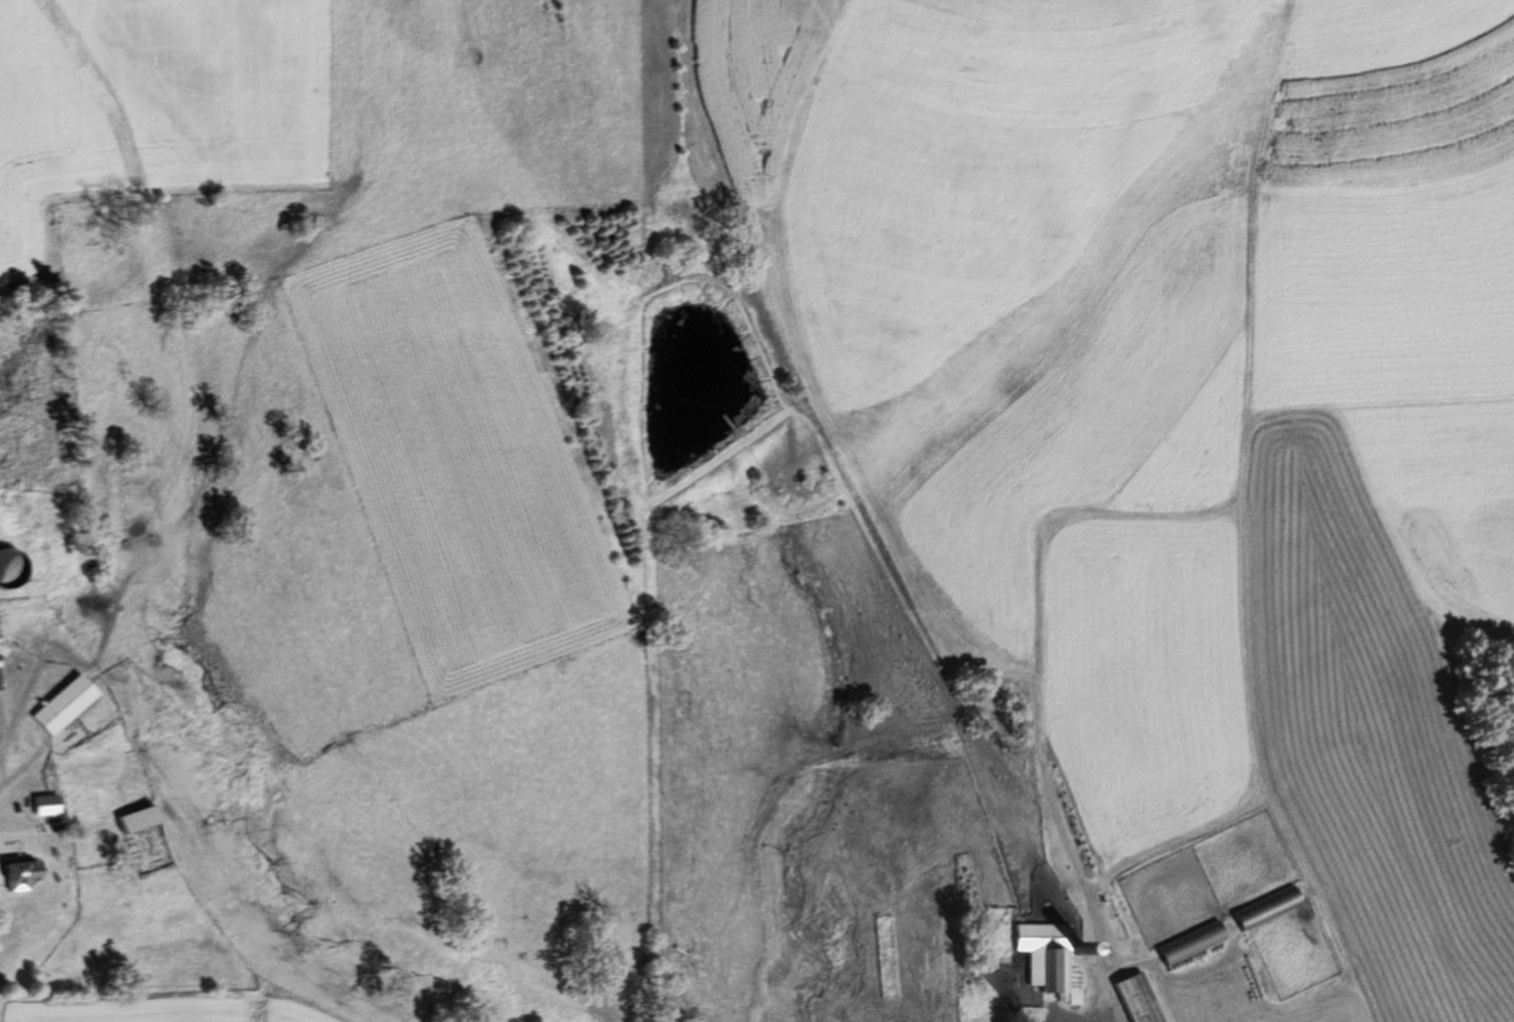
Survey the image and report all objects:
building: (57, 705)
building: (39, 806)
building: (130, 819)
building: (14, 875)
building: (1261, 909)
building: (1185, 945)
building: (1041, 959)
road: (1100, 997)
building: (1132, 998)

